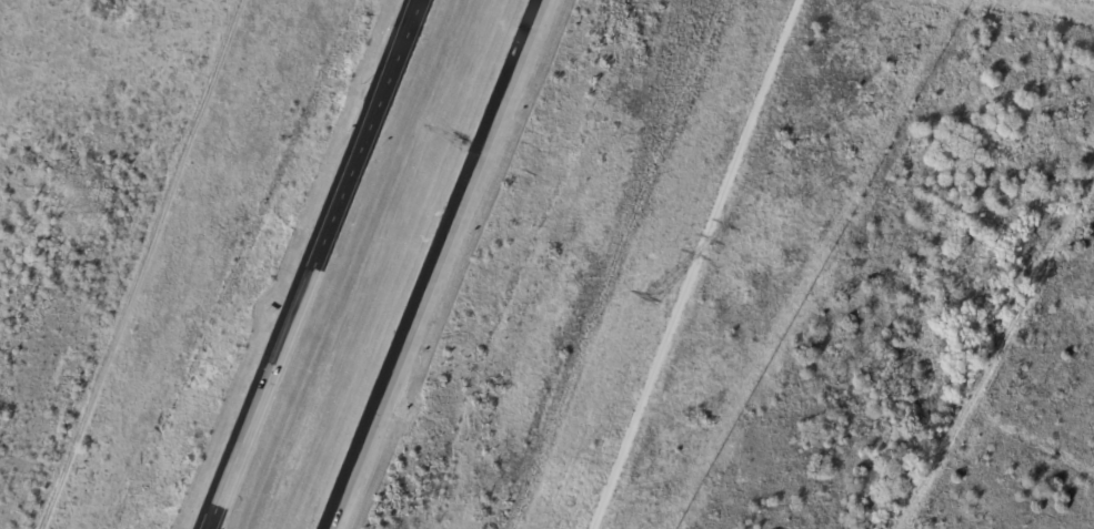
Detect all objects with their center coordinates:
road: (312, 264)
road: (435, 264)
road: (701, 264)
power tower: (649, 301)
road: (997, 355)

